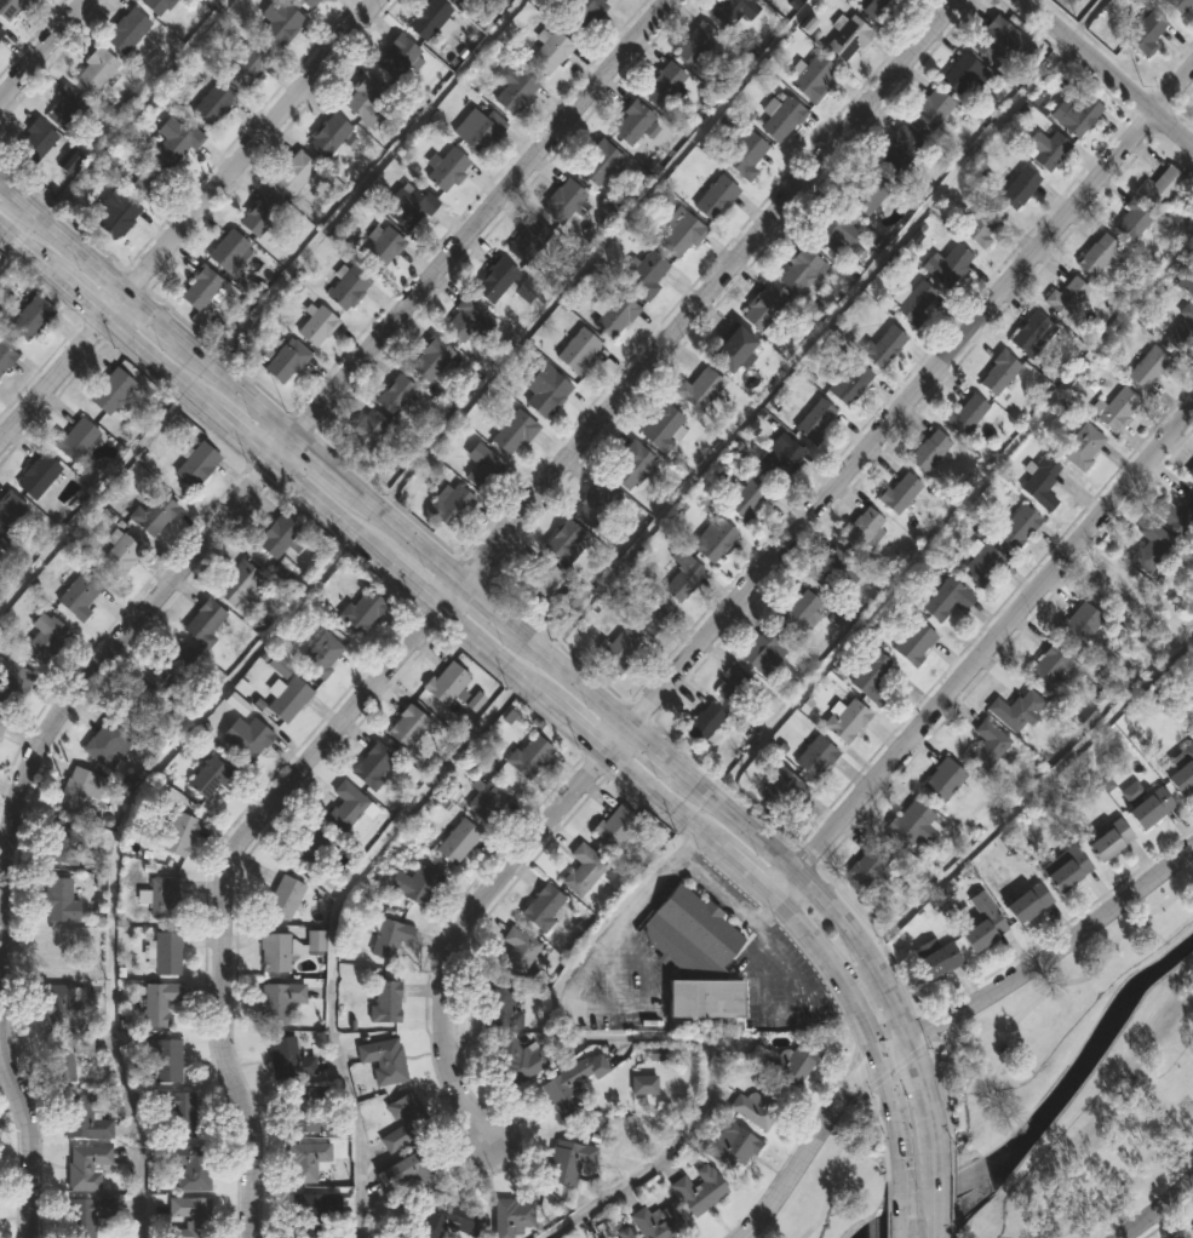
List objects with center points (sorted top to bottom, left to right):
building: (612, 0)
building: (310, 2)
building: (468, 2)
building: (156, 5)
building: (1178, 5)
building: (11, 8)
building: (877, 8)
building: (729, 11)
building: (581, 13)
building: (429, 18)
road: (1086, 18)
building: (279, 22)
building: (127, 30)
building: (1, 33)
building: (1146, 34)
building: (1, 35)
building: (999, 38)
building: (848, 39)
building: (696, 44)
road: (40, 46)
building: (400, 59)
building: (247, 64)
building: (96, 70)
road: (1109, 70)
building: (959, 74)
building: (814, 78)
building: (663, 85)
building: (515, 90)
building: (367, 102)
building: (212, 103)
road: (134, 107)
building: (67, 108)
building: (929, 111)
building: (1077, 114)
building: (782, 120)
building: (631, 124)
building: (478, 130)
building: (328, 134)
building: (176, 141)
building: (33, 143)
building: (1044, 150)
building: (897, 151)
building: (745, 155)
building: (69, 161)
building: (600, 161)
building: (448, 170)
building: (294, 173)
road: (361, 176)
building: (147, 184)
building: (1160, 187)
building: (1017, 189)
building: (867, 193)
building: (716, 199)
building: (563, 201)
building: (409, 206)
building: (114, 212)
building: (260, 213)
road: (185, 217)
building: (1130, 220)
building: (981, 225)
building: (833, 231)
building: (681, 235)
building: (528, 240)
building: (382, 248)
building: (228, 250)
road: (597, 250)
building: (1095, 256)
road: (10, 258)
building: (950, 265)
building: (797, 270)
building: (646, 275)
building: (495, 280)
building: (1186, 283)
building: (200, 287)
building: (348, 288)
building: (526, 290)
building: (1065, 296)
building: (916, 303)
building: (763, 310)
building: (615, 316)
building: (33, 317)
building: (469, 321)
building: (317, 325)
building: (1181, 326)
building: (1029, 334)
road: (809, 340)
building: (881, 344)
building: (729, 349)
building: (578, 353)
building: (6, 356)
building: (430, 359)
building: (286, 360)
building: (1148, 369)
building: (997, 373)
building: (847, 382)
building: (698, 389)
building: (545, 390)
building: (113, 391)
building: (396, 394)
building: (1117, 409)
building: (964, 414)
building: (813, 420)
building: (661, 428)
building: (367, 429)
building: (514, 432)
building: (75, 440)
building: (1080, 446)
road: (274, 448)
building: (927, 452)
building: (778, 459)
building: (199, 465)
building: (630, 465)
building: (484, 474)
building: (1192, 474)
building: (39, 475)
building: (1040, 483)
building: (897, 493)
road: (92, 498)
building: (746, 500)
building: (451, 508)
building: (591, 508)
road: (952, 508)
building: (10, 511)
building: (155, 514)
building: (1177, 516)
building: (1015, 527)
building: (862, 531)
building: (283, 535)
building: (561, 540)
building: (712, 541)
building: (1151, 548)
building: (0, 554)
building: (120, 556)
building: (981, 566)
building: (833, 569)
road: (464, 573)
building: (681, 577)
road: (746, 579)
building: (537, 581)
building: (241, 583)
building: (1117, 590)
building: (80, 596)
building: (572, 597)
building: (945, 600)
building: (797, 611)
building: (366, 612)
building: (652, 618)
building: (205, 621)
building: (1078, 625)
road: (529, 627)
building: (46, 637)
building: (912, 643)
road: (979, 648)
building: (616, 650)
building: (763, 652)
building: (322, 655)
road: (506, 664)
building: (176, 666)
building: (1050, 669)
building: (871, 678)
building: (13, 682)
building: (448, 682)
building: (733, 687)
building: (288, 698)
building: (145, 707)
building: (1015, 711)
building: (847, 721)
building: (701, 723)
building: (2, 726)
building: (409, 727)
building: (248, 738)
building: (107, 744)
building: (986, 746)
building: (532, 756)
building: (814, 757)
building: (377, 767)
building: (1180, 770)
building: (212, 776)
building: (942, 780)
building: (780, 789)
building: (78, 790)
road: (1033, 795)
building: (491, 799)
building: (349, 806)
building: (1149, 809)
building: (910, 824)
building: (618, 826)
building: (179, 833)
building: (63, 842)
building: (459, 842)
building: (1108, 842)
road: (110, 843)
building: (314, 844)
building: (870, 866)
building: (585, 870)
building: (1066, 870)
building: (418, 884)
road: (710, 894)
building: (165, 896)
building: (286, 896)
building: (58, 899)
building: (1027, 904)
building: (545, 907)
building: (982, 923)
road: (333, 925)
building: (391, 938)
building: (521, 951)
building: (276, 952)
building: (55, 953)
building: (168, 953)
building: (695, 956)
building: (936, 963)
building: (161, 1003)
building: (280, 1003)
building: (388, 1003)
building: (62, 1007)
road: (1031, 1008)
building: (504, 1009)
road: (941, 1018)
building: (68, 1058)
building: (291, 1060)
road: (933, 1060)
building: (385, 1061)
building: (165, 1062)
building: (524, 1062)
building: (790, 1064)
building: (573, 1083)
road: (902, 1097)
road: (710, 1102)
park: (1028, 1105)
building: (305, 1107)
building: (759, 1107)
building: (179, 1114)
building: (84, 1118)
building: (406, 1123)
road: (28, 1134)
building: (732, 1146)
building: (310, 1153)
building: (569, 1162)
road: (860, 1165)
building: (87, 1167)
building: (193, 1169)
building: (411, 1171)
road: (1131, 1179)
building: (701, 1190)
road: (952, 1196)
road: (939, 1199)
road: (904, 1205)
road: (1154, 1207)
road: (888, 1209)
building: (88, 1215)
building: (191, 1216)
building: (514, 1216)
building: (451, 1219)
building: (660, 1222)
building: (620, 1233)

